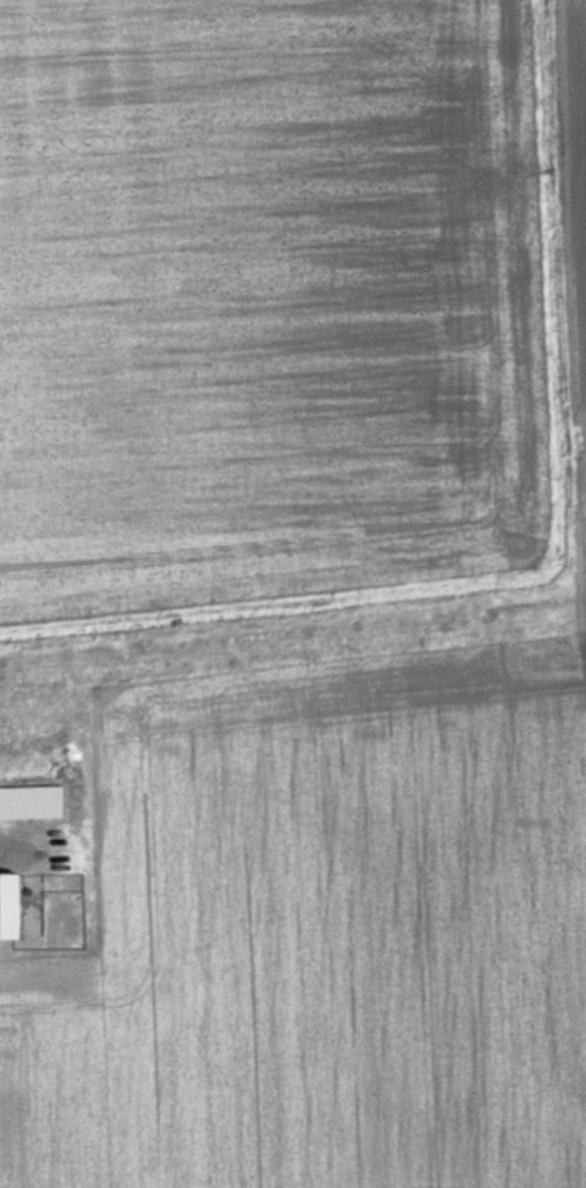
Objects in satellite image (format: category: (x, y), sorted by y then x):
building: (31, 802)
building: (9, 904)

